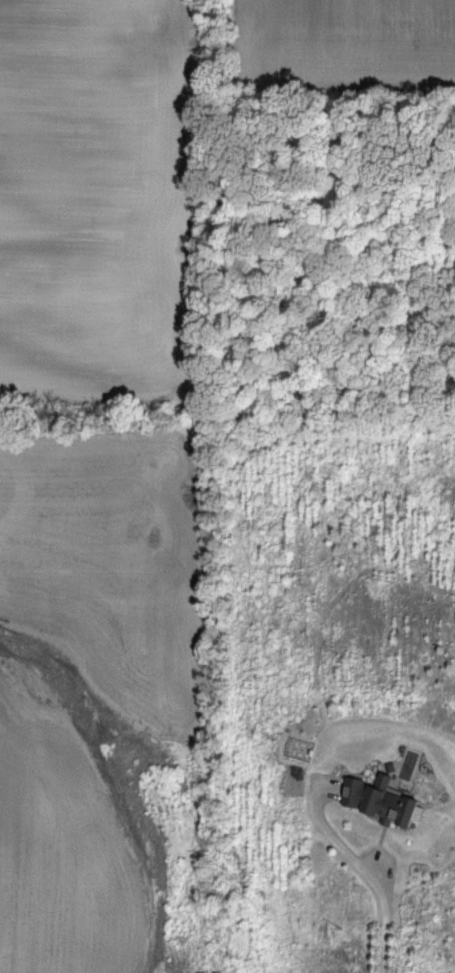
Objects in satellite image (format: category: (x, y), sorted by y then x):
building: (381, 798)
road: (384, 923)

